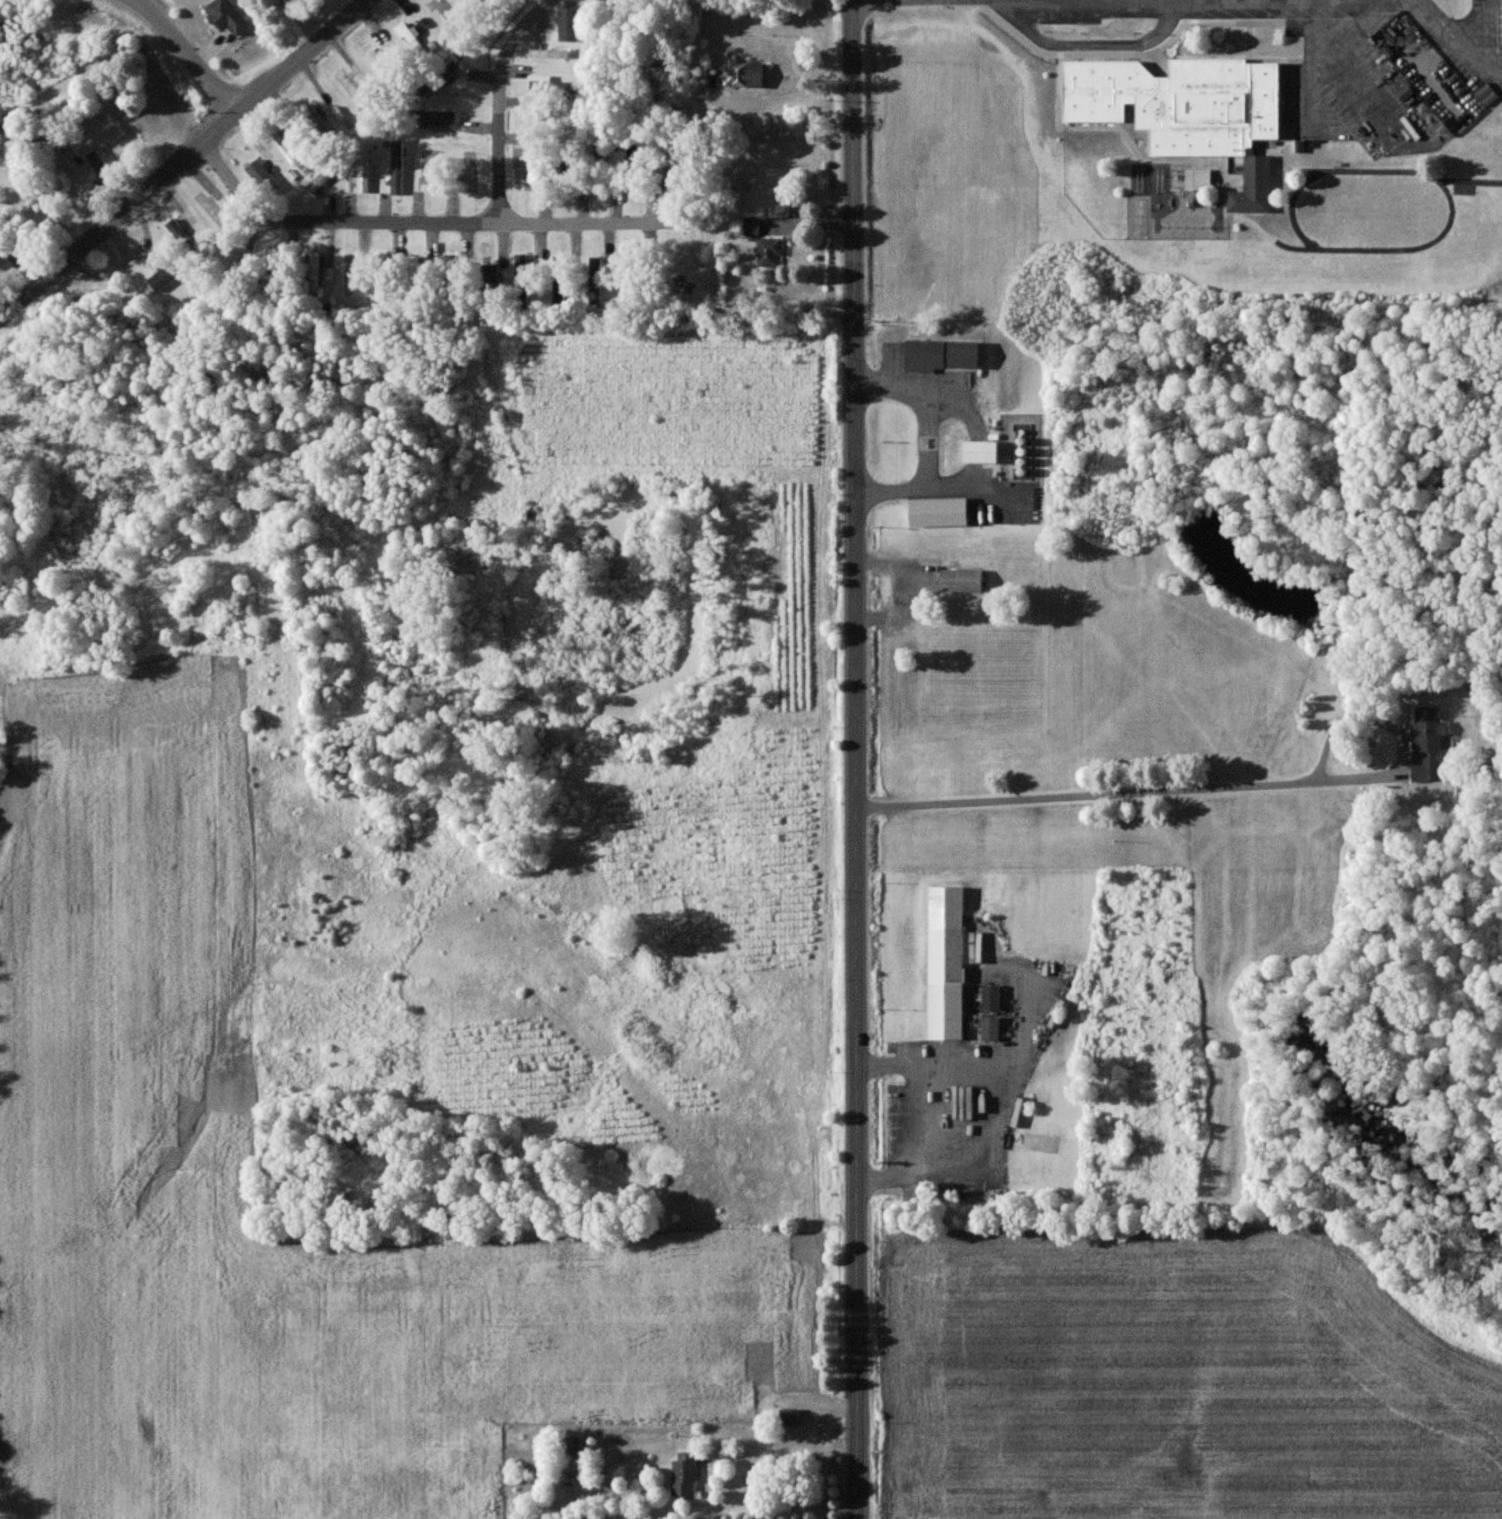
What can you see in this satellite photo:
road: (978, 1)
road: (960, 2)
building: (227, 16)
building: (569, 24)
road: (1460, 34)
building: (410, 37)
road: (1092, 44)
road: (188, 54)
building: (449, 70)
building: (745, 75)
building: (553, 85)
building: (1487, 95)
road: (500, 103)
building: (1190, 111)
building: (437, 116)
building: (566, 122)
building: (97, 137)
road: (196, 151)
building: (292, 151)
road: (857, 156)
building: (397, 167)
building: (363, 169)
building: (260, 174)
building: (1199, 179)
building: (318, 182)
road: (334, 222)
road: (578, 225)
building: (752, 226)
building: (180, 235)
building: (770, 253)
building: (524, 271)
building: (314, 272)
building: (414, 275)
building: (487, 276)
building: (162, 278)
building: (596, 280)
road: (12, 311)
building: (968, 355)
building: (926, 356)
building: (982, 453)
building: (940, 512)
building: (962, 581)
building: (1430, 746)
road: (1120, 793)
road: (858, 916)
building: (946, 962)
building: (991, 997)
building: (991, 1028)
building: (789, 1417)
building: (572, 1446)
road: (791, 1454)
building: (684, 1475)

